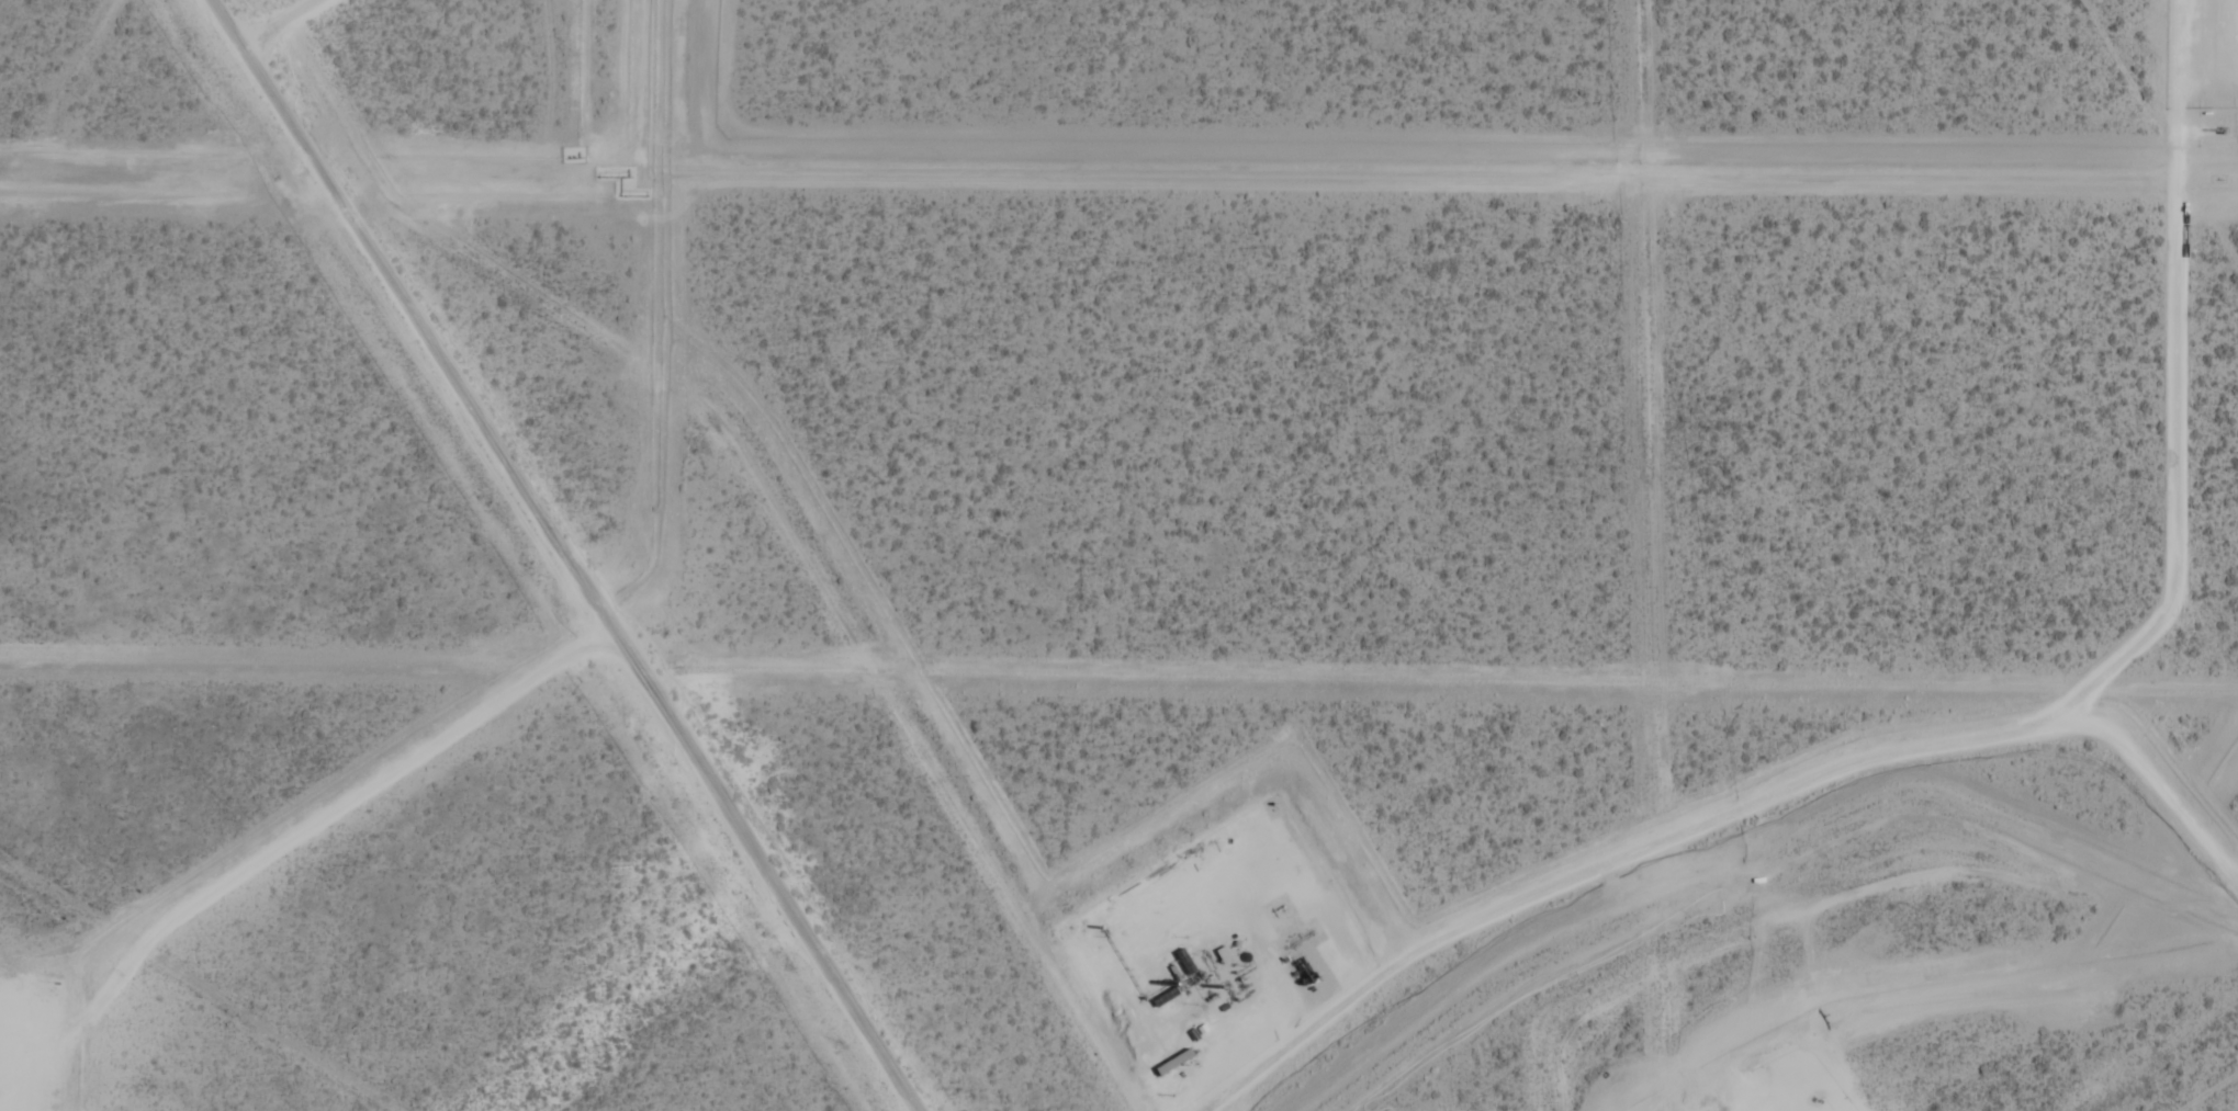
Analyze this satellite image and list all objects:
road: (274, 24)
road: (2215, 131)
road: (2186, 384)
road: (556, 555)
road: (1735, 817)
road: (305, 824)
road: (1259, 836)
road: (18, 1059)
road: (34, 1081)
road: (1831, 1101)

